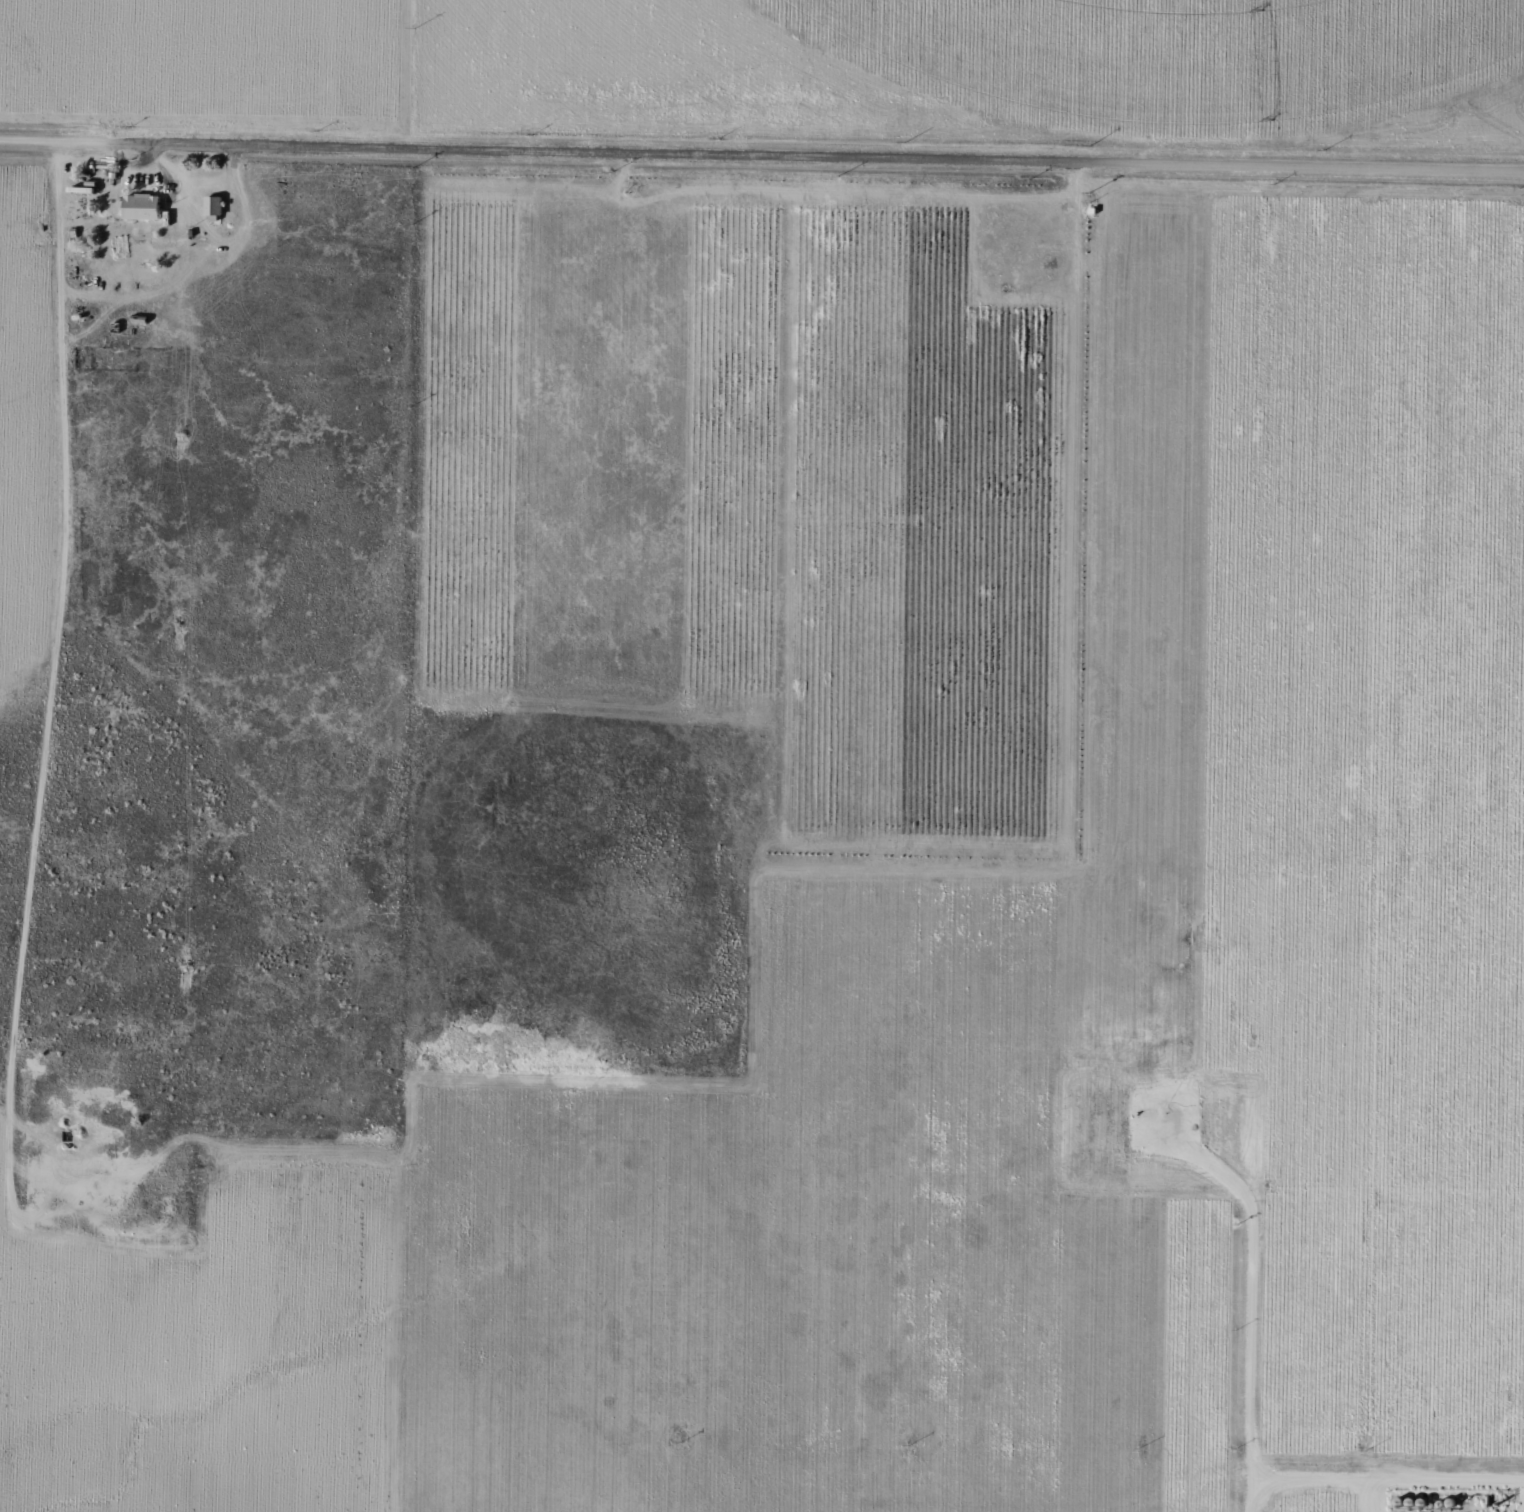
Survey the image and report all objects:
road: (406, 86)
road: (762, 180)
building: (141, 206)
road: (1422, 728)
road: (1410, 1393)
road: (1500, 1504)

